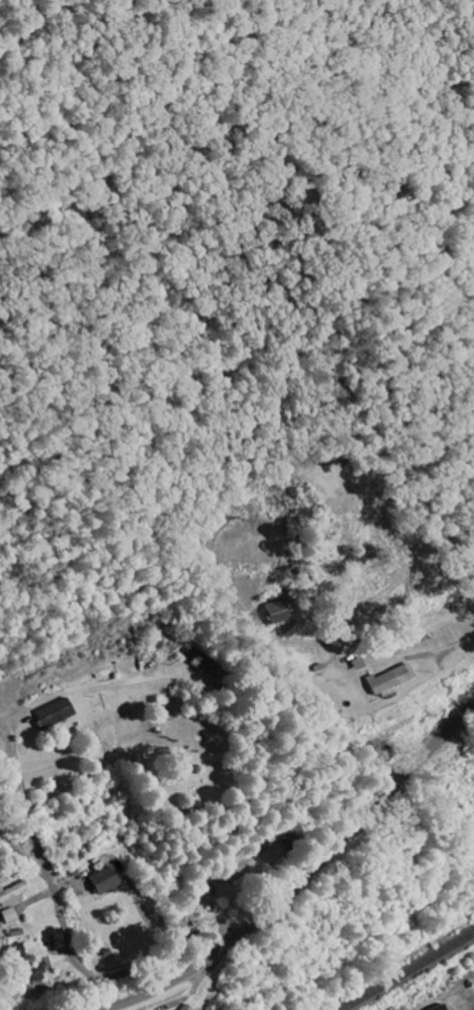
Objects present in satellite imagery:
building: (276, 611)
building: (386, 680)
building: (53, 714)
road: (301, 879)
building: (104, 880)
building: (12, 894)
building: (7, 915)
road: (68, 934)
building: (12, 950)
railway: (406, 970)
building: (27, 975)
building: (182, 1007)
building: (438, 1007)

